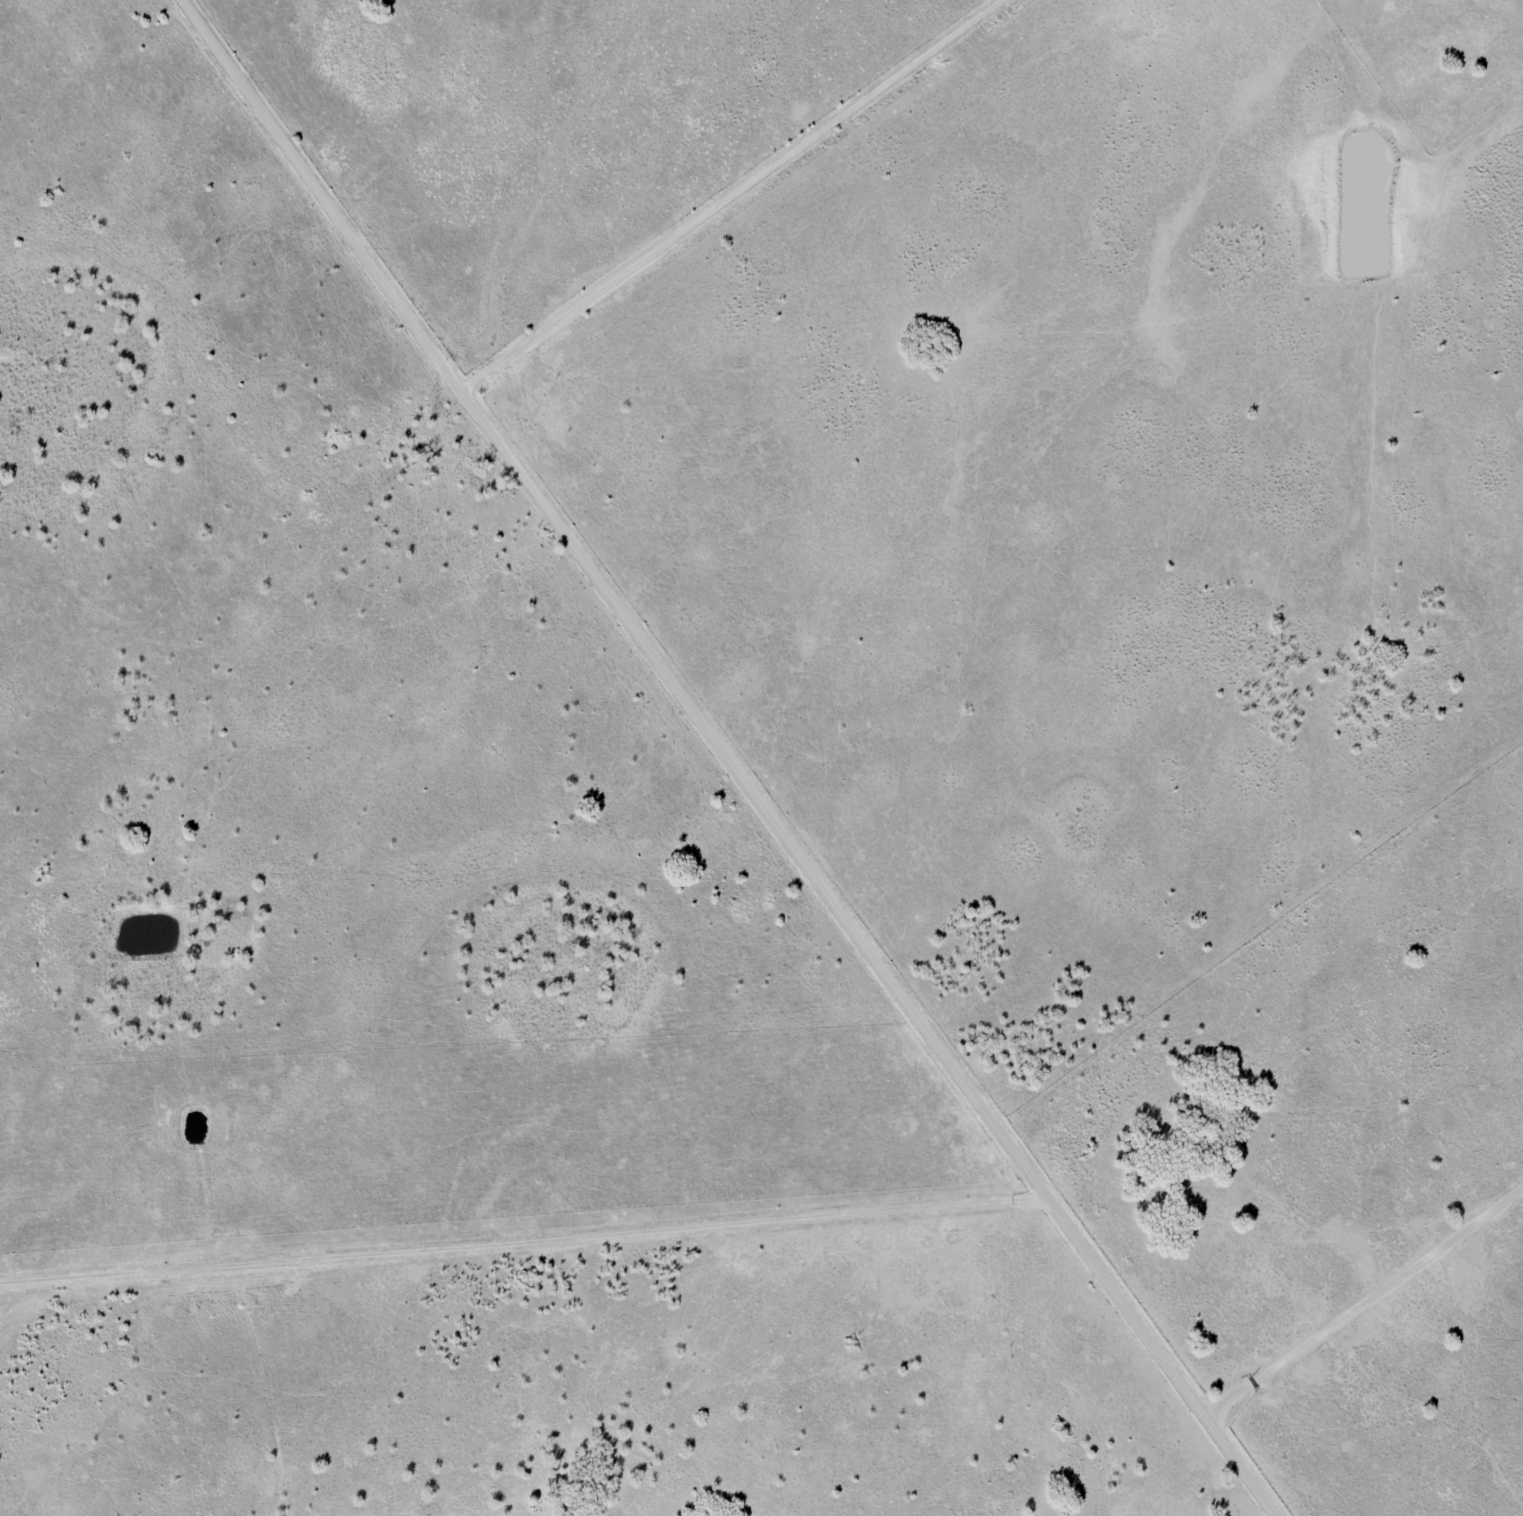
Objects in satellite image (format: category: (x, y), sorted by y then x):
road: (734, 758)
road: (1379, 1346)

